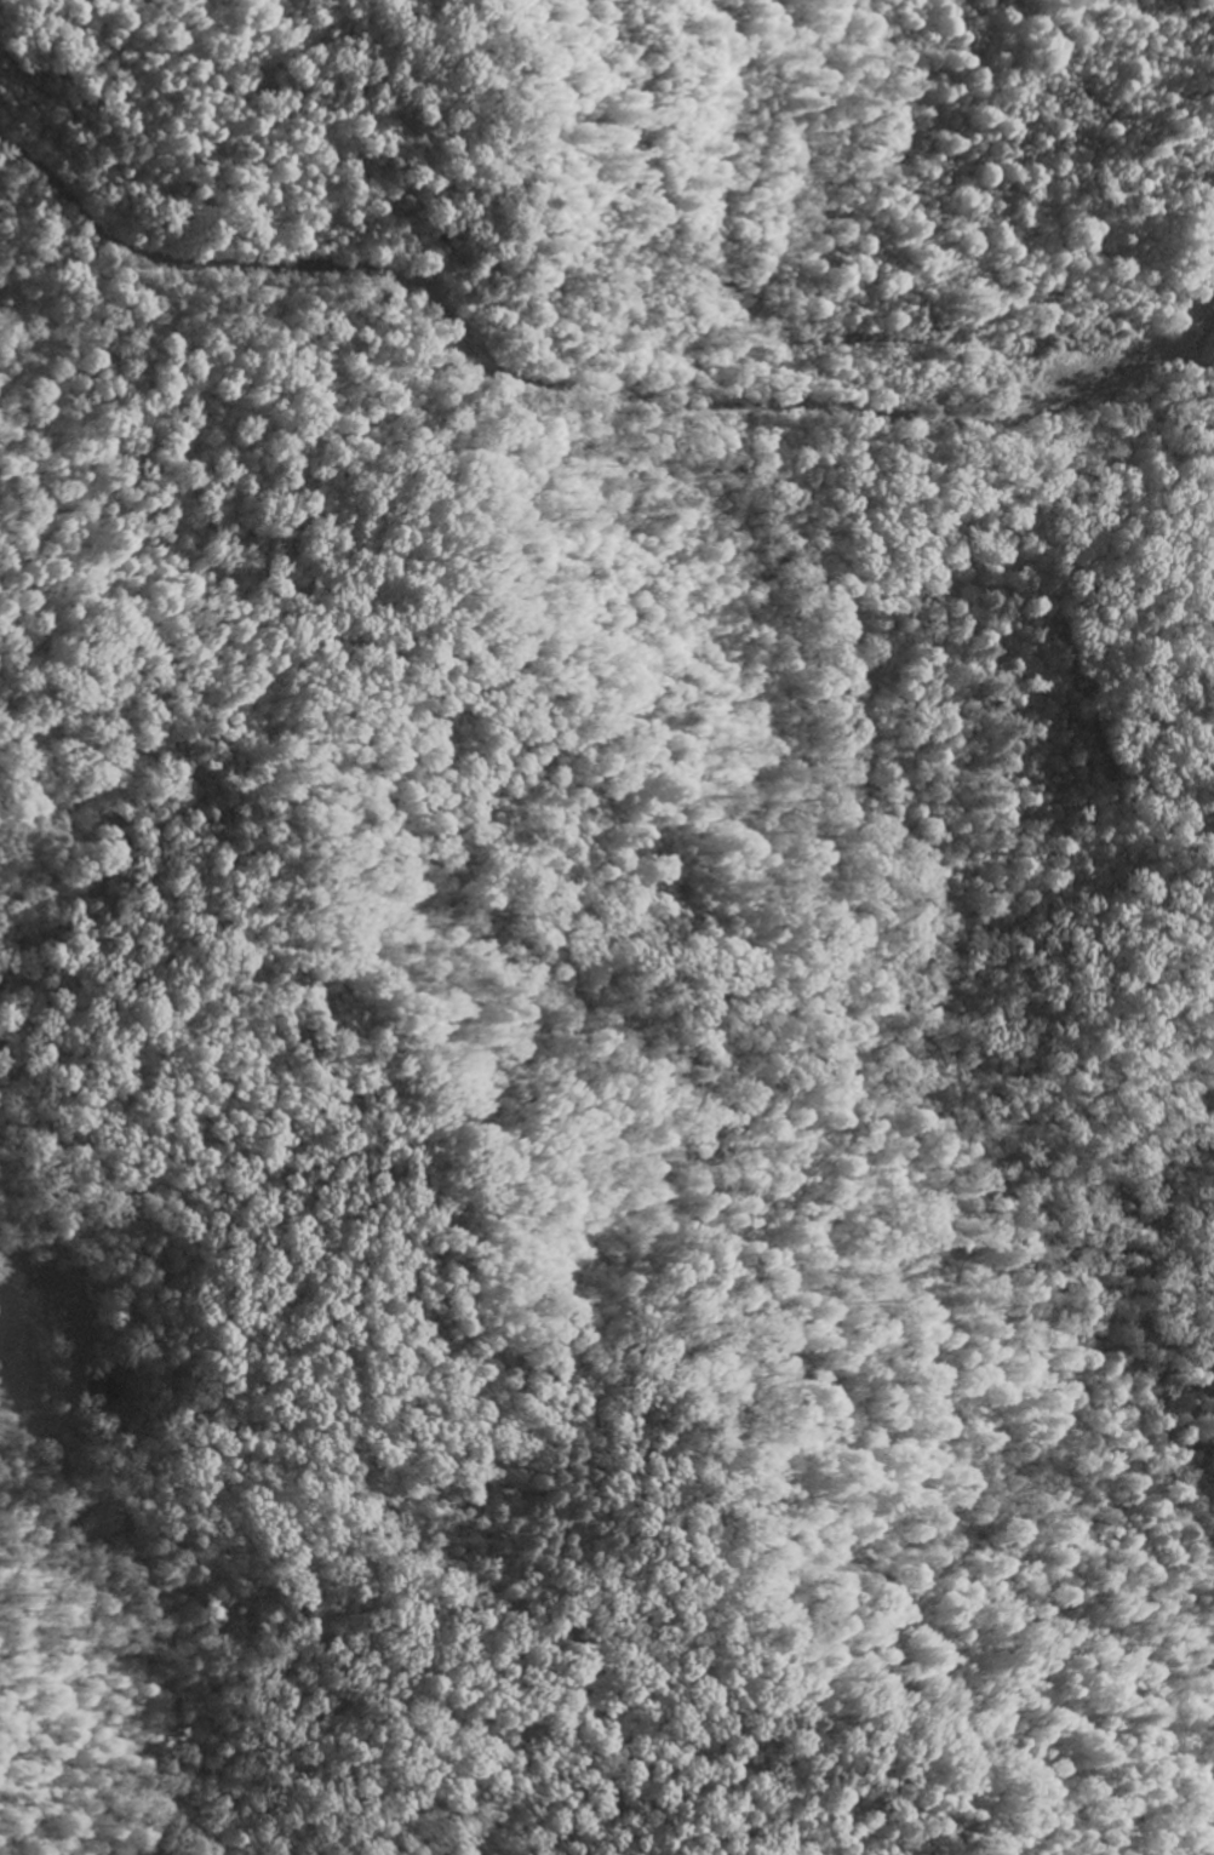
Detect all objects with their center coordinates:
road: (240, 265)
road: (860, 413)
road: (613, 594)
road: (134, 1659)

